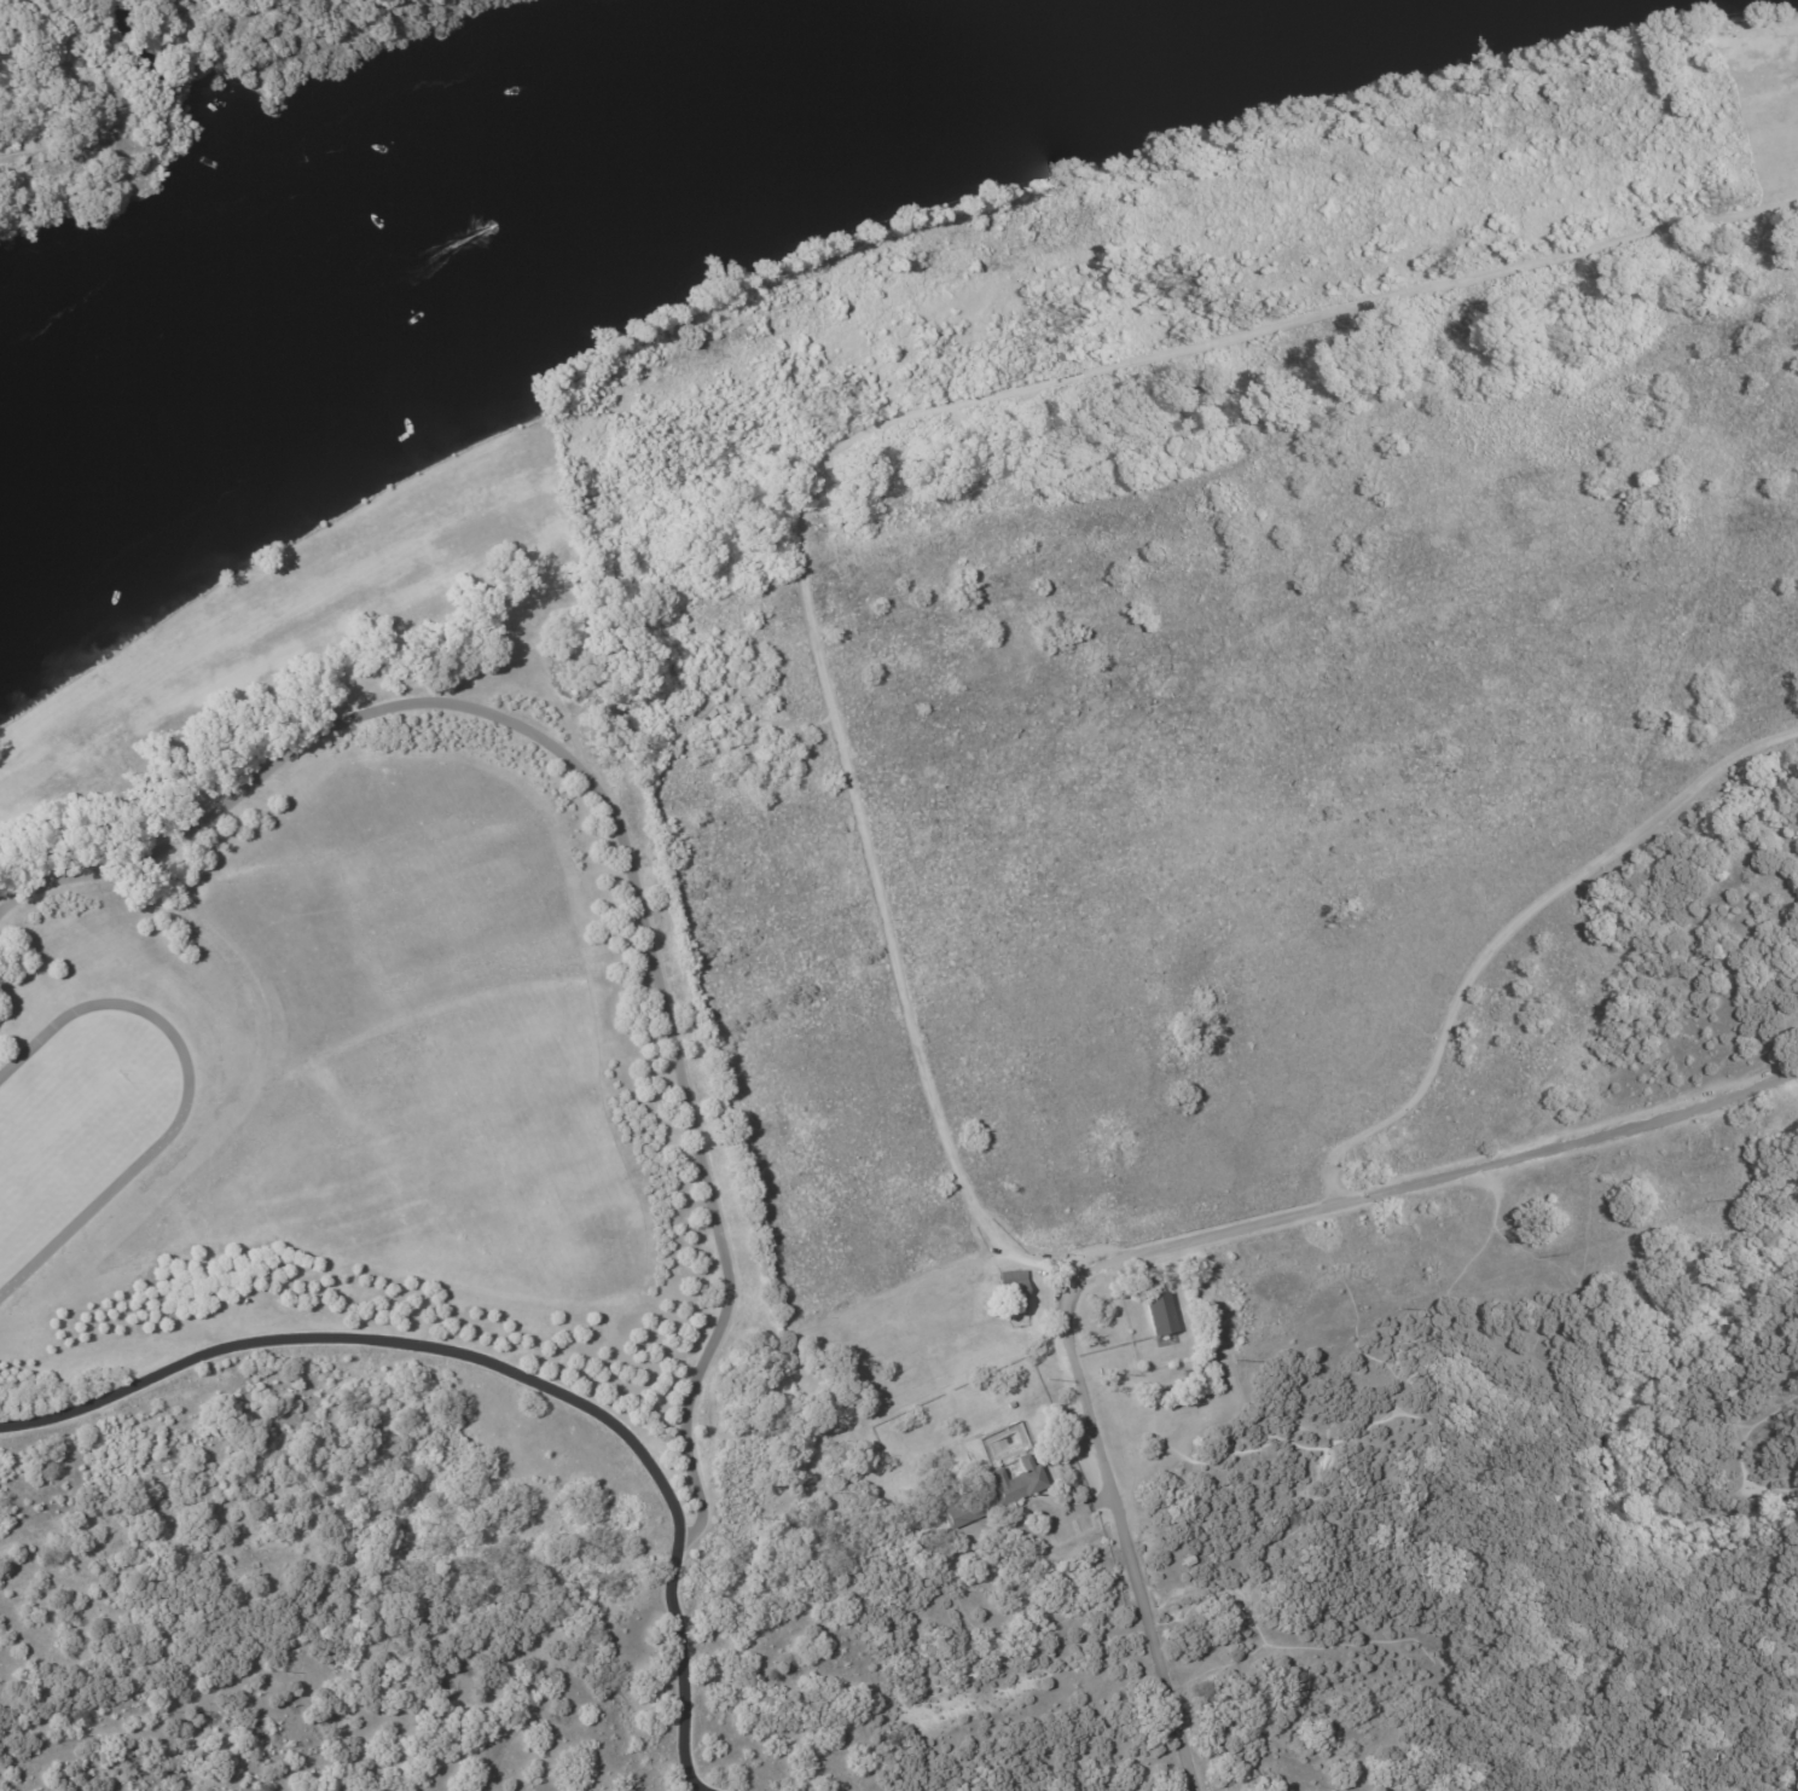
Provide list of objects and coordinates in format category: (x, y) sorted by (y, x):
road: (92, 134)
river: (609, 201)
road: (1328, 311)
building: (708, 712)
road: (770, 721)
road: (622, 842)
road: (875, 876)
park: (1265, 922)
road: (1508, 931)
track: (81, 1131)
park: (62, 1144)
road: (1179, 1245)
building: (1011, 1291)
road: (1413, 1294)
building: (1158, 1316)
building: (1188, 1373)
road: (500, 1376)
building: (1010, 1407)
road: (1748, 1438)
road: (1498, 1462)
building: (1016, 1491)
building: (1189, 1561)

